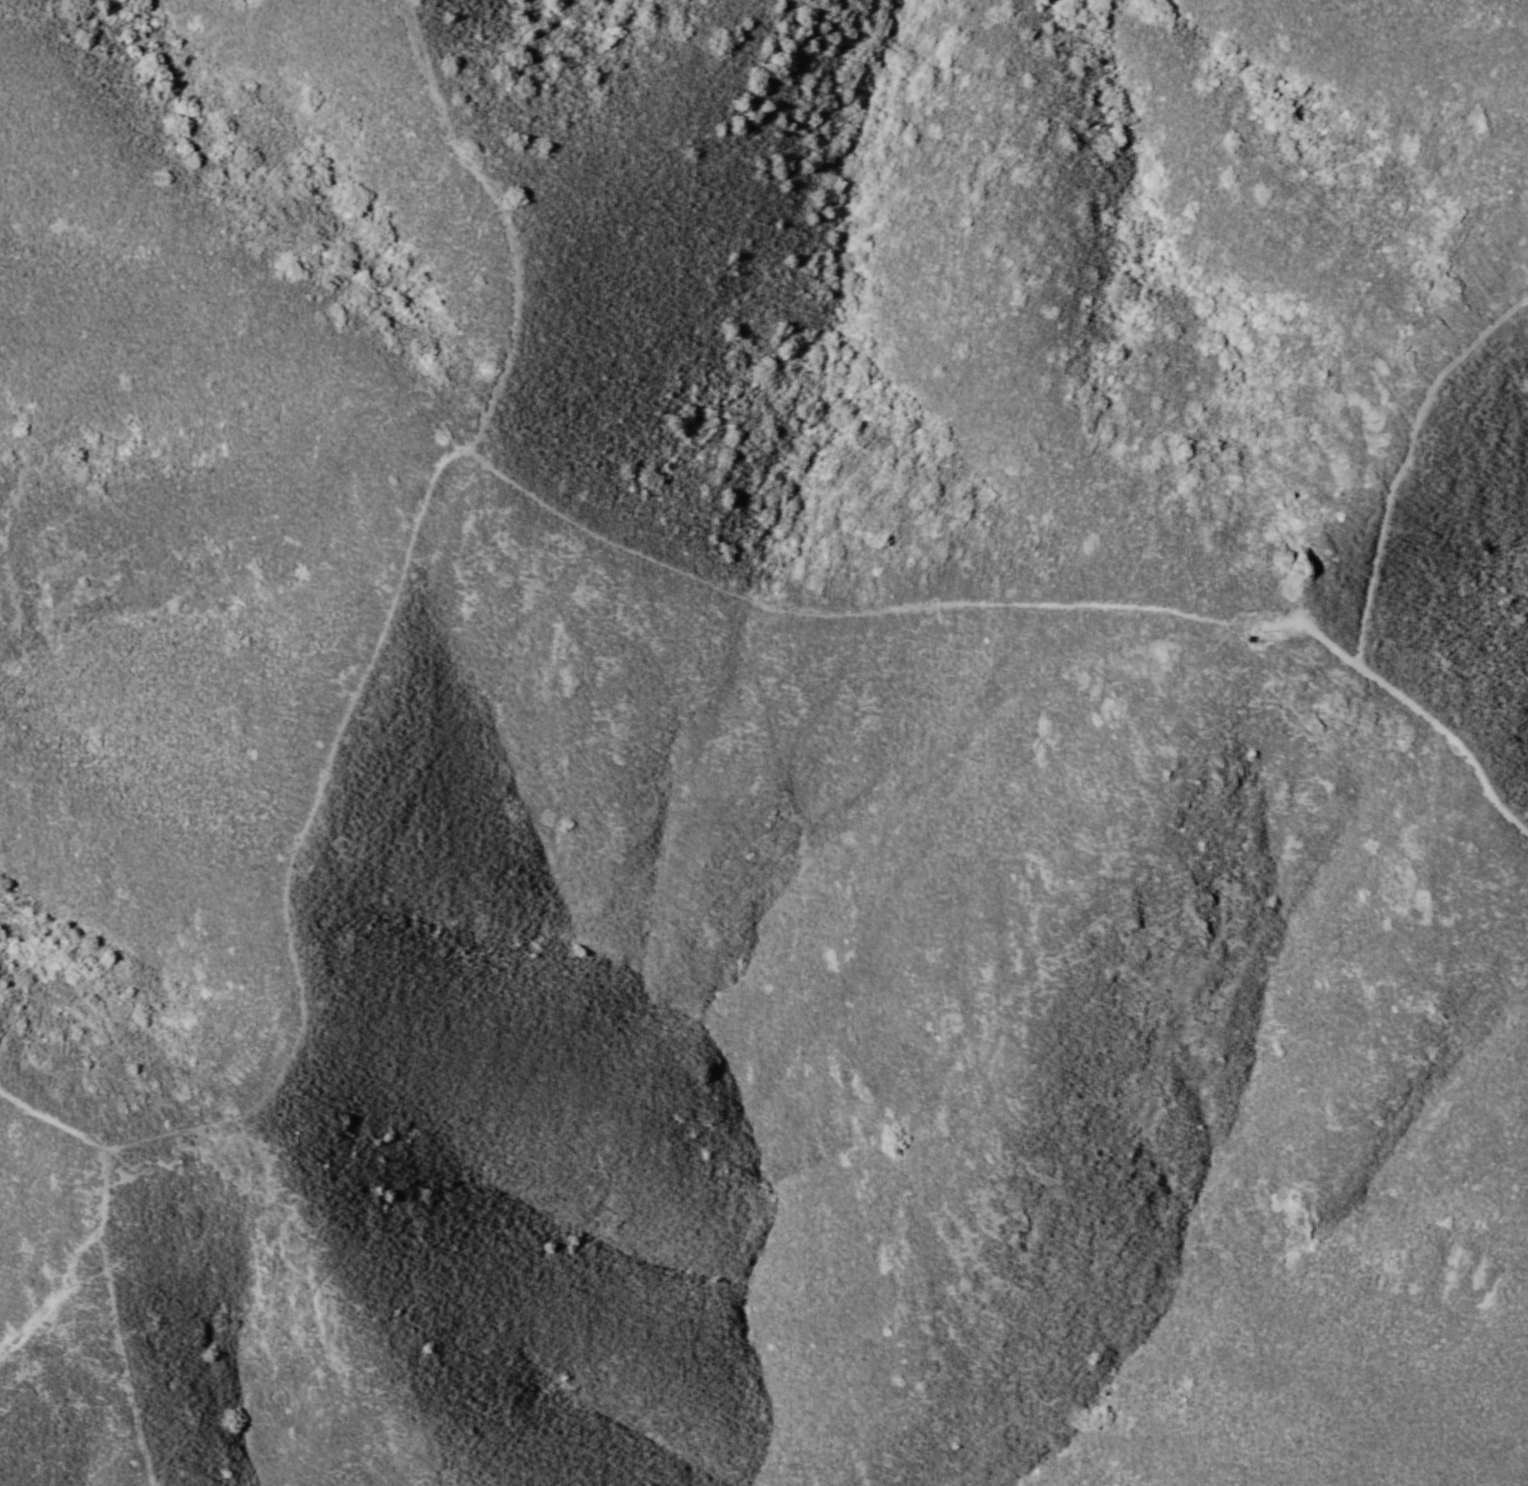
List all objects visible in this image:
road: (1406, 459)
road: (556, 508)

